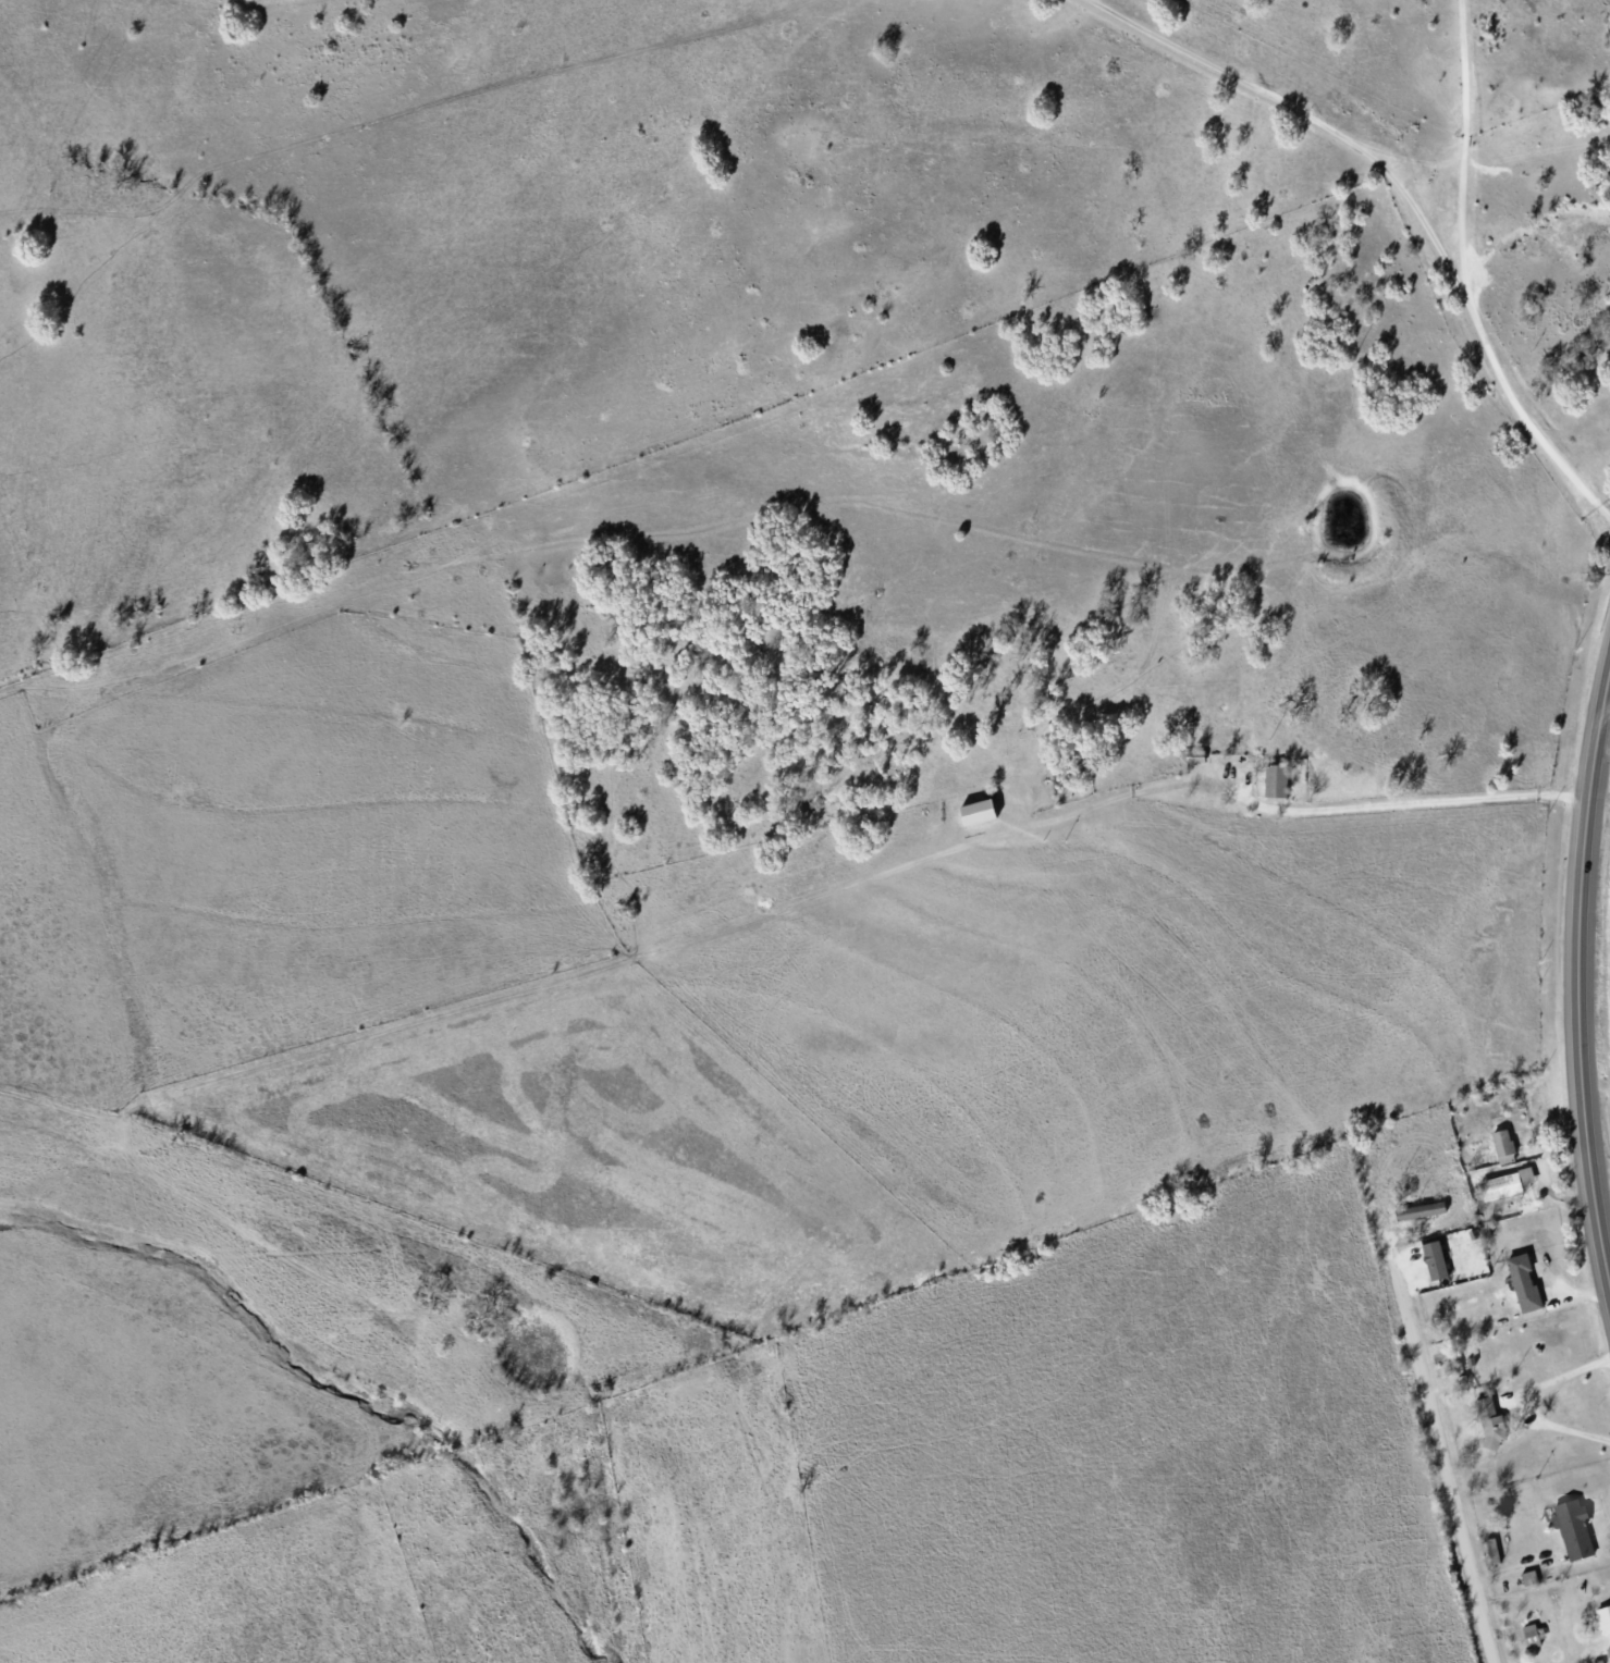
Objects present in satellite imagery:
road: (1307, 119)
road: (1462, 281)
building: (1276, 779)
road: (1410, 803)
building: (979, 811)
road: (1576, 975)
building: (1498, 1149)
building: (1507, 1192)
building: (1416, 1215)
road: (1606, 1258)
building: (1436, 1259)
building: (1519, 1288)
building: (1465, 1365)
building: (1452, 1369)
road: (1525, 1400)
building: (1485, 1428)
building: (1474, 1429)
road: (1439, 1440)
building: (1568, 1533)
building: (1487, 1557)
building: (1524, 1584)
building: (1601, 1627)
building: (1528, 1639)
building: (1609, 1651)
building: (1606, 1658)

